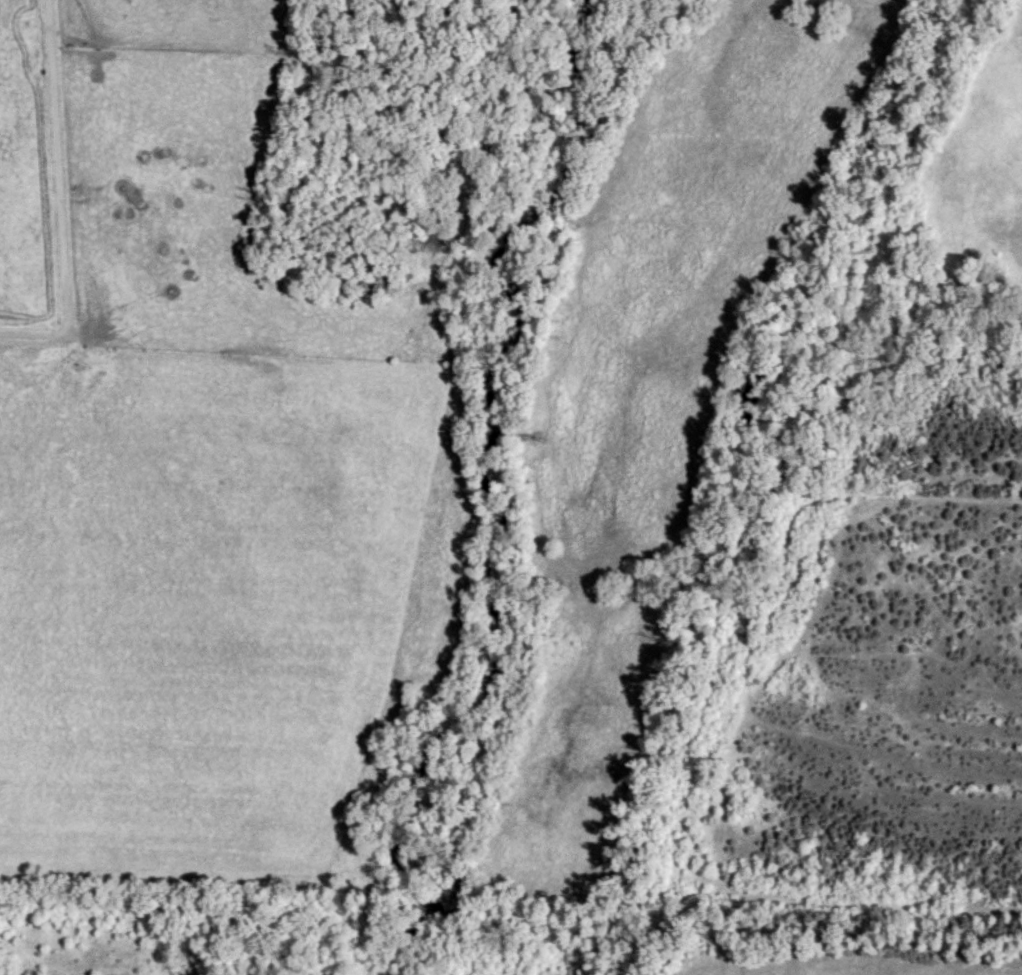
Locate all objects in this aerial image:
road: (66, 203)

